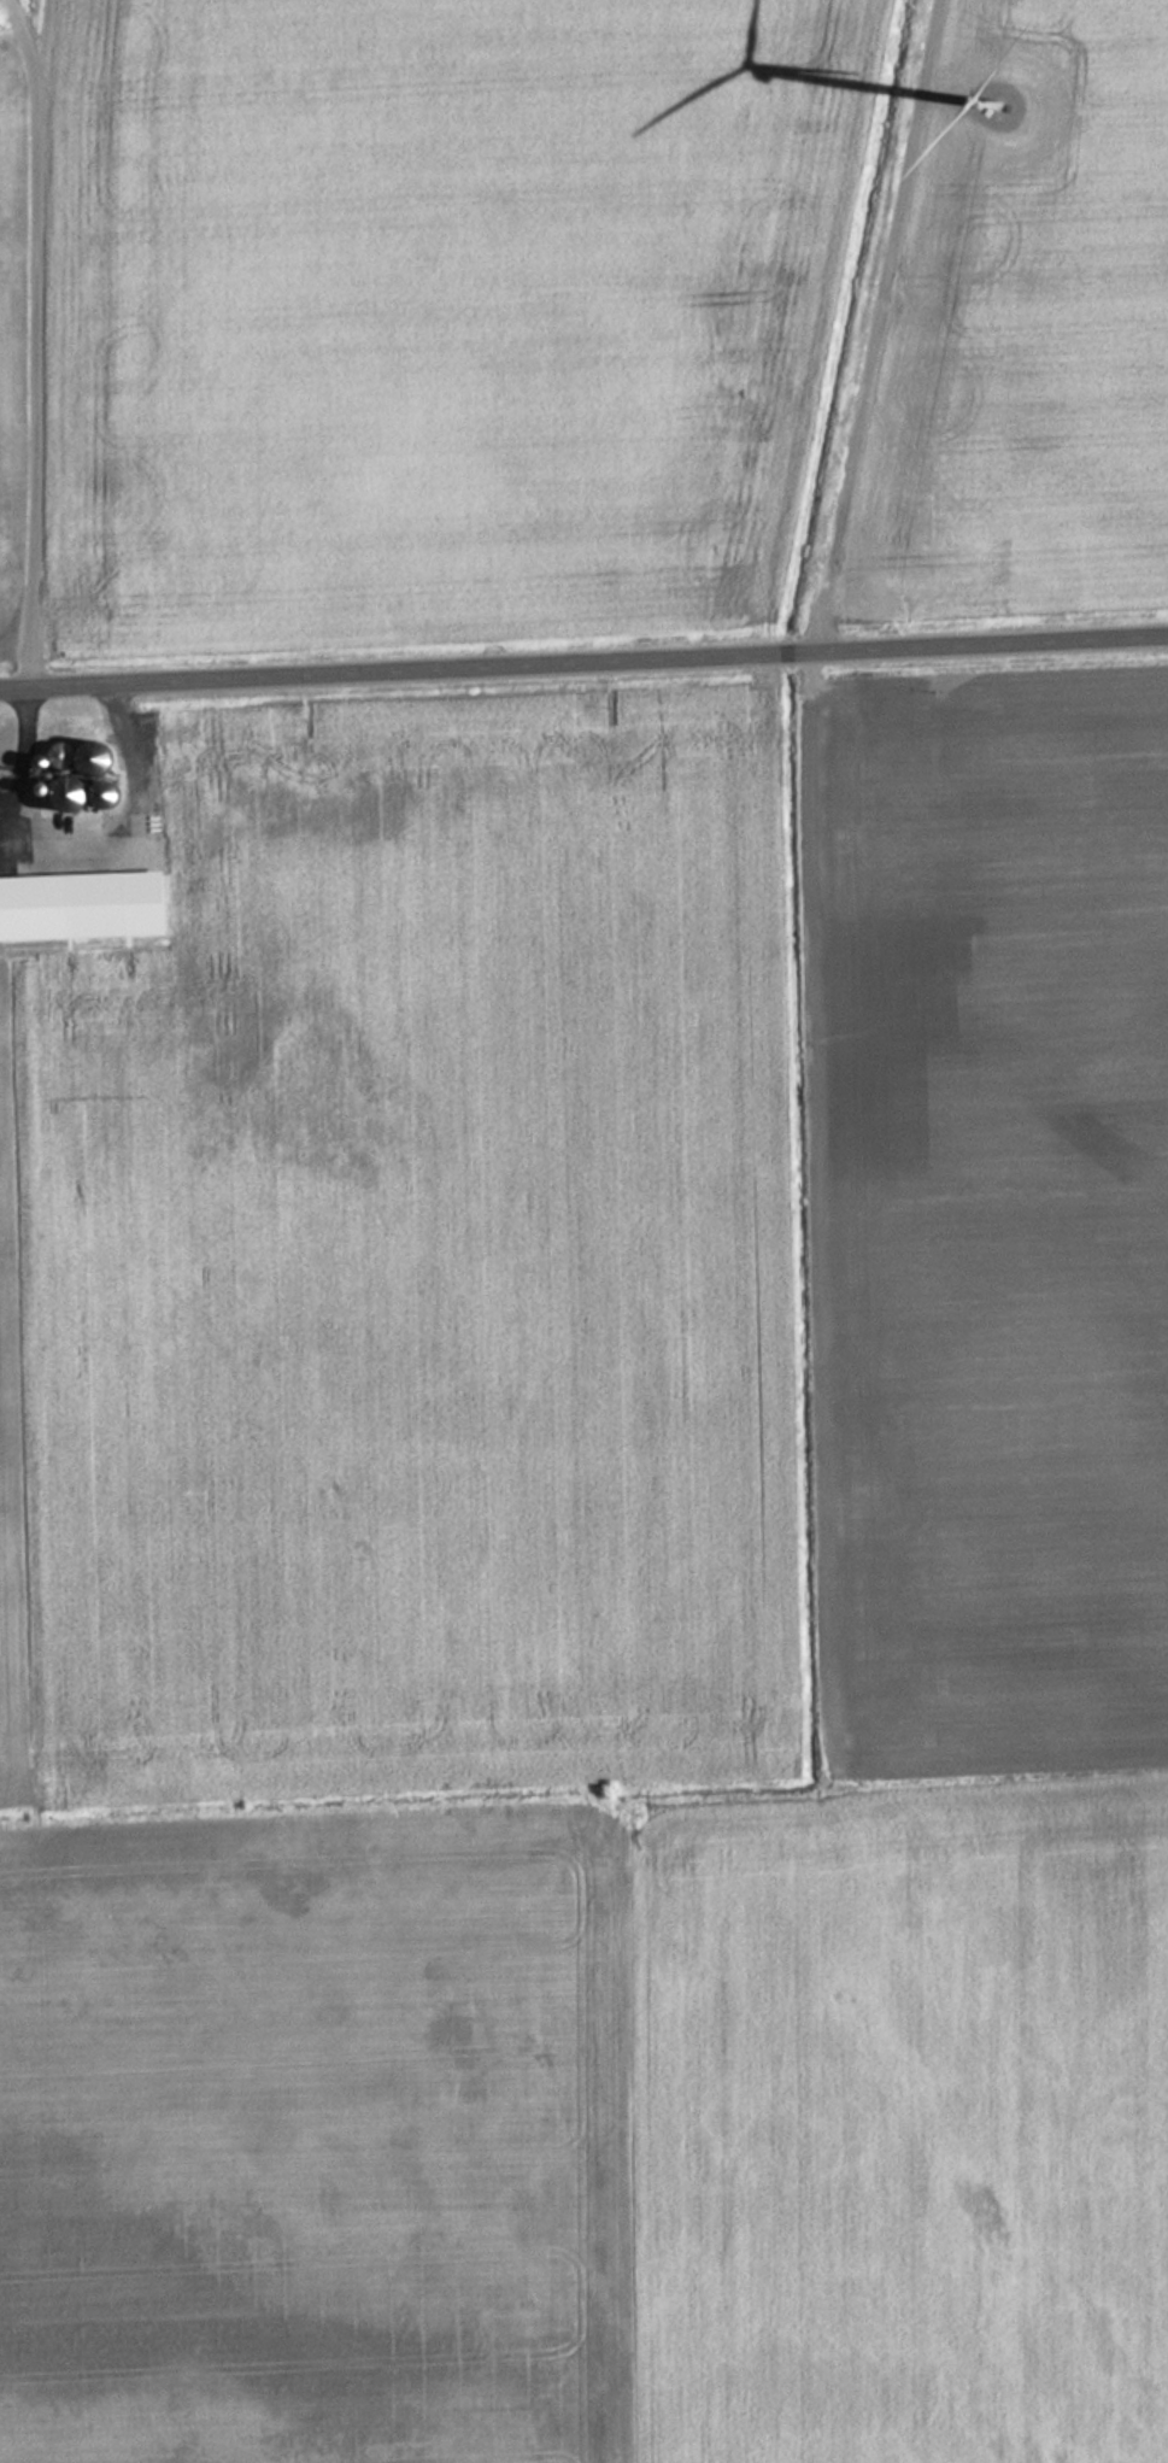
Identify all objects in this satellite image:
wind turbine: (998, 104)
road: (879, 328)
road: (31, 341)
road: (583, 663)
building: (52, 755)
building: (83, 760)
building: (57, 790)
building: (64, 838)
building: (31, 910)

